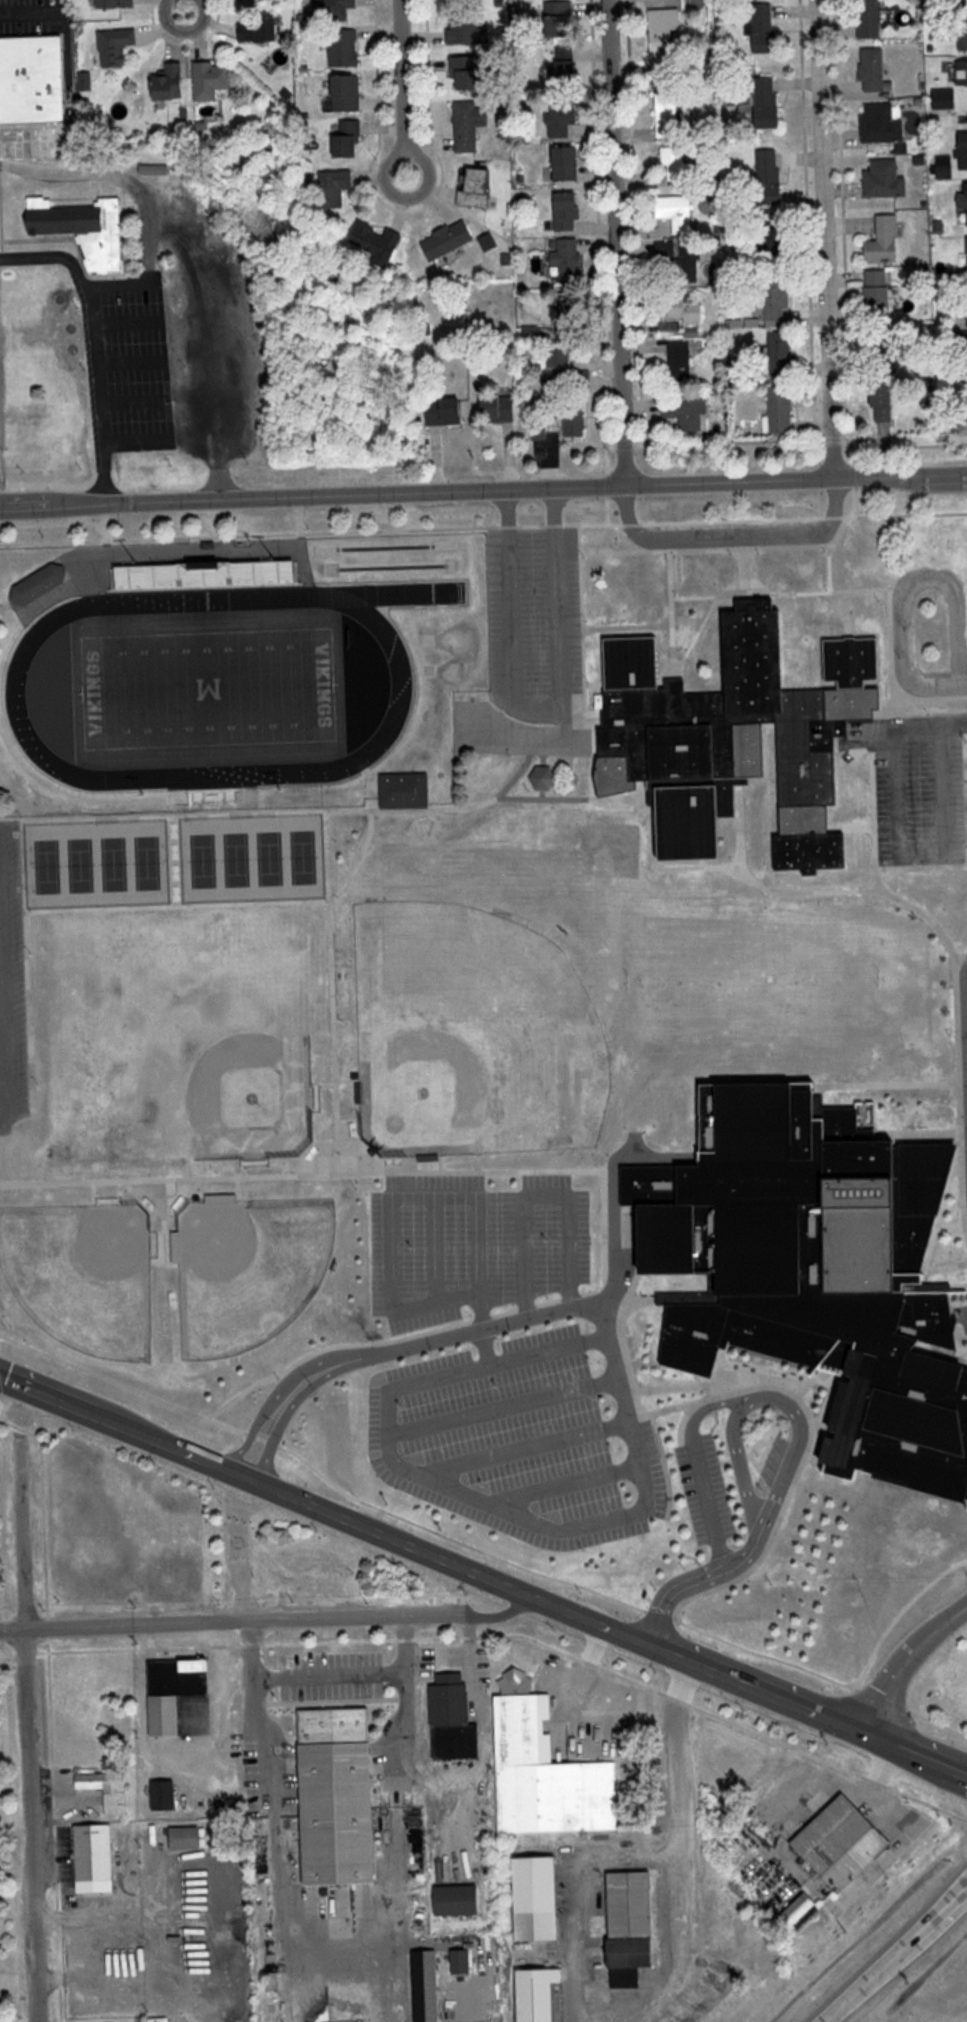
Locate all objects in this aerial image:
building: (955, 0)
building: (118, 3)
building: (334, 9)
road: (36, 14)
building: (901, 15)
building: (559, 18)
building: (871, 18)
building: (667, 19)
building: (467, 26)
road: (184, 28)
building: (766, 28)
building: (259, 30)
building: (963, 38)
building: (116, 46)
building: (345, 48)
building: (564, 61)
building: (875, 69)
building: (467, 73)
building: (33, 78)
building: (172, 80)
building: (213, 80)
building: (952, 86)
building: (348, 92)
building: (768, 101)
road: (396, 102)
building: (668, 114)
building: (563, 120)
building: (882, 122)
building: (470, 124)
building: (349, 138)
building: (961, 154)
building: (567, 163)
building: (676, 163)
building: (770, 176)
building: (885, 179)
building: (335, 187)
building: (478, 188)
building: (568, 211)
building: (679, 212)
building: (85, 228)
road: (817, 239)
building: (449, 240)
building: (885, 241)
building: (378, 242)
road: (608, 242)
building: (680, 256)
building: (965, 258)
building: (567, 259)
building: (774, 289)
building: (879, 292)
building: (686, 311)
building: (572, 313)
road: (92, 346)
building: (781, 353)
building: (681, 360)
building: (559, 367)
building: (966, 396)
building: (499, 410)
building: (782, 410)
building: (447, 412)
building: (687, 412)
building: (575, 419)
road: (483, 488)
road: (731, 535)
building: (208, 576)
road: (910, 582)
building: (41, 585)
stadium: (223, 680)
road: (963, 684)
road: (539, 708)
road: (955, 722)
building: (737, 735)
road: (905, 845)
road: (7, 1013)
road: (400, 1192)
road: (543, 1195)
road: (614, 1208)
building: (815, 1275)
road: (489, 1345)
road: (338, 1358)
road: (767, 1397)
road: (703, 1407)
road: (710, 1505)
road: (598, 1521)
park: (120, 1530)
park: (120, 1531)
park: (159, 1540)
park: (301, 1572)
road: (482, 1579)
road: (700, 1580)
road: (264, 1621)
road: (905, 1662)
road: (334, 1677)
building: (175, 1690)
building: (454, 1718)
road: (29, 1728)
road: (679, 1754)
building: (548, 1775)
building: (109, 1789)
building: (164, 1794)
building: (339, 1795)
building: (189, 1838)
building: (845, 1843)
building: (96, 1852)
road: (576, 1892)
building: (538, 1898)
building: (460, 1900)
building: (801, 1909)
building: (632, 1926)
road: (681, 1946)
road: (893, 1953)
building: (463, 1961)
building: (427, 1986)
building: (540, 1994)
road: (828, 2019)

